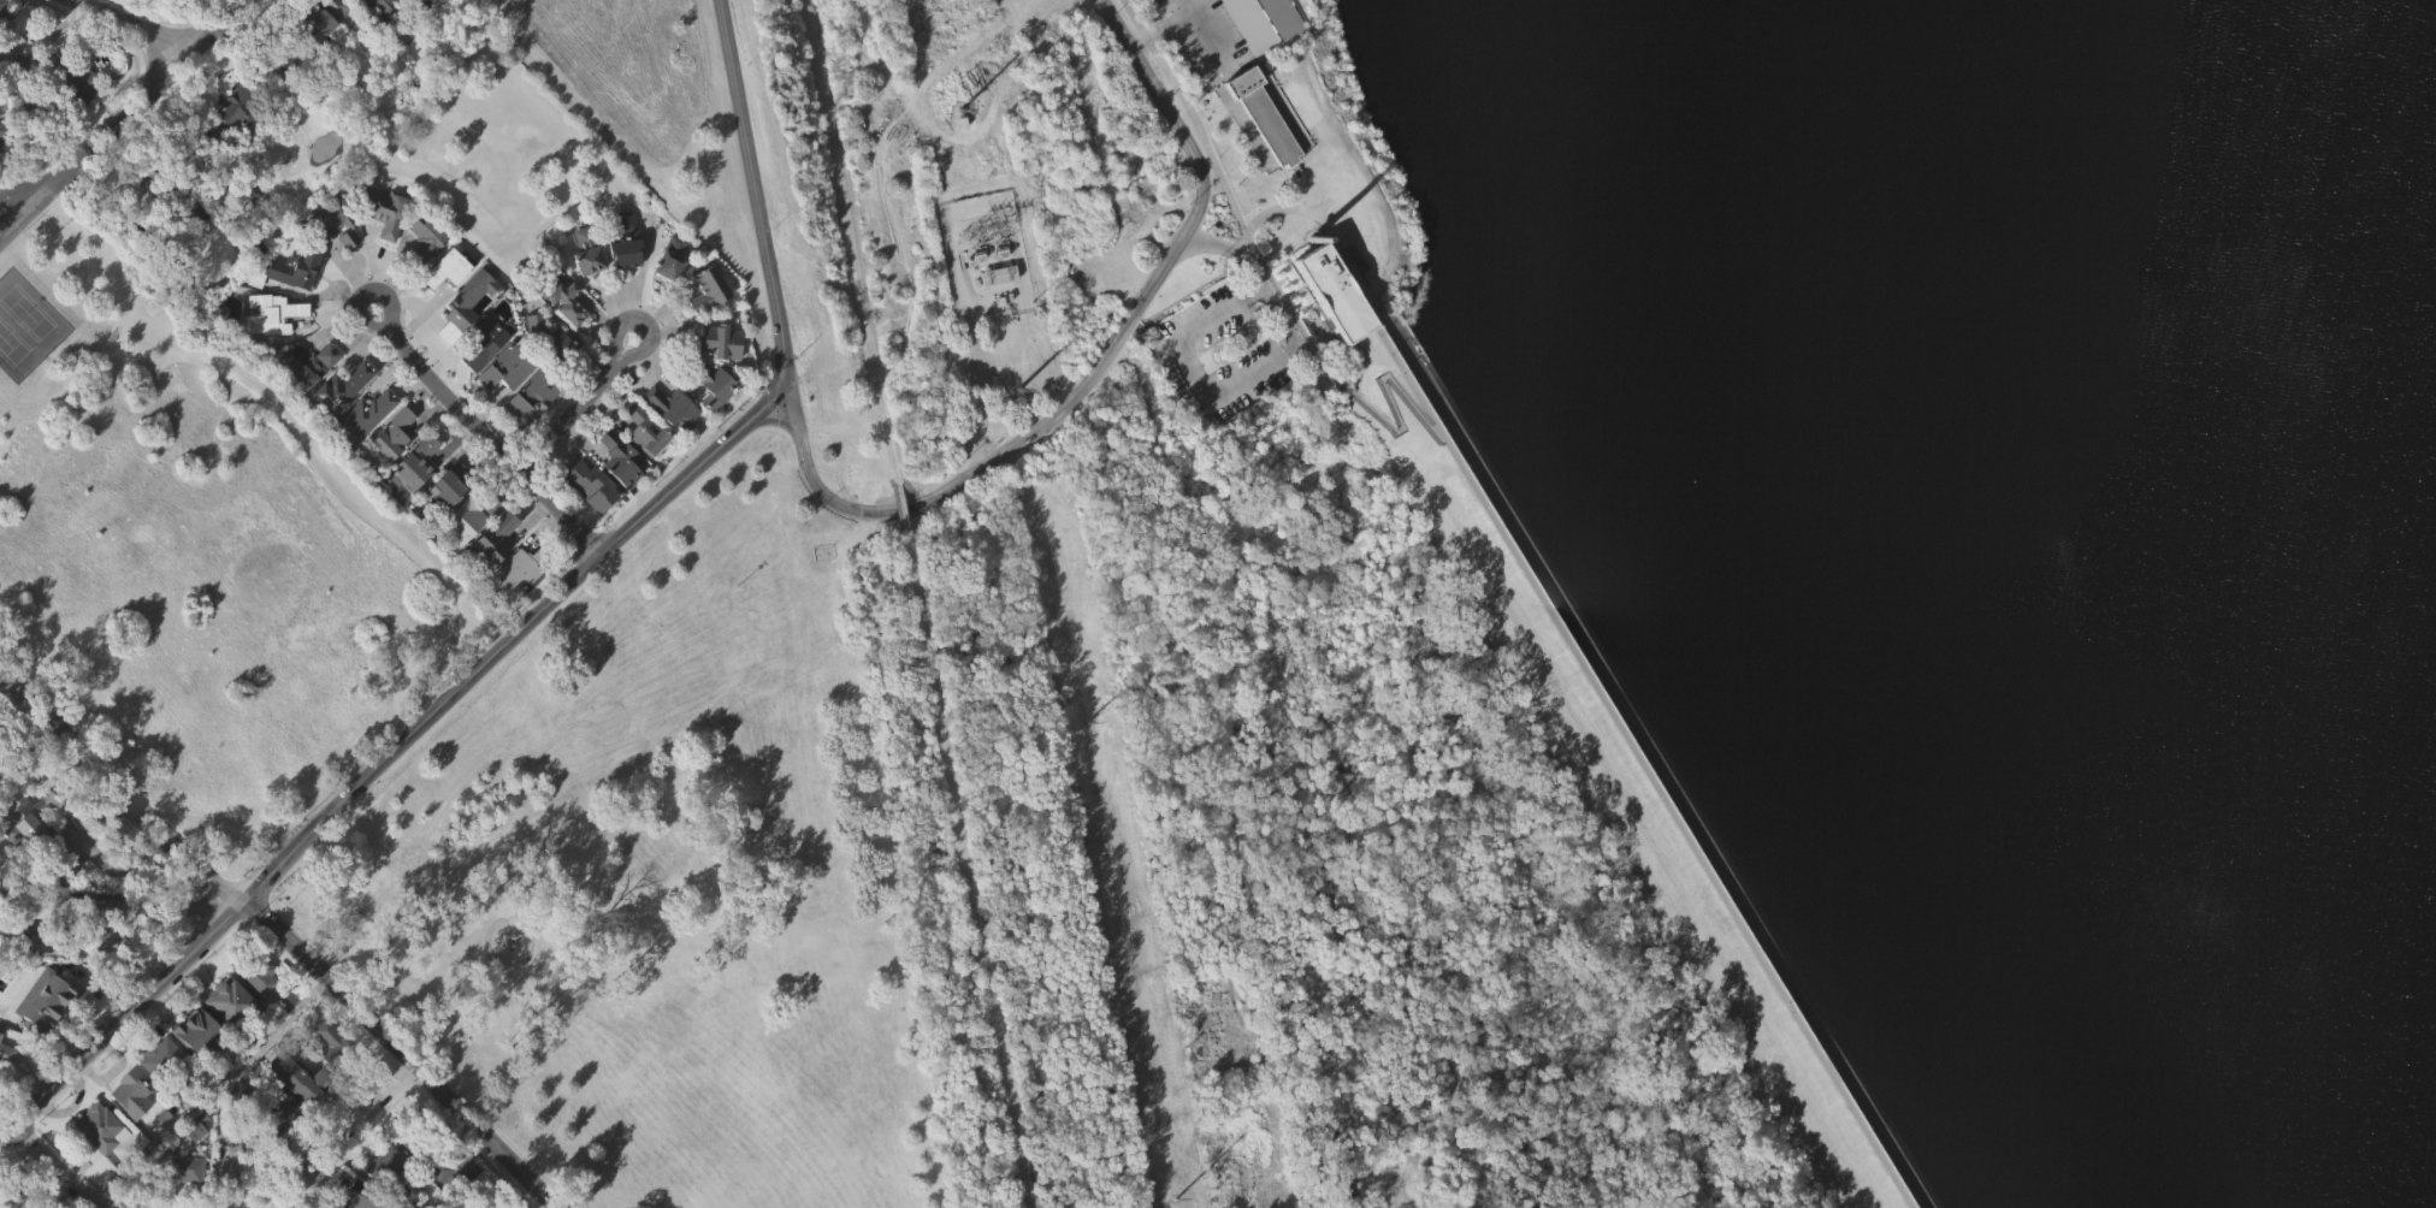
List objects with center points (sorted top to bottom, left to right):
building: (158, 1)
building: (190, 8)
building: (5, 10)
building: (391, 12)
building: (320, 20)
building: (1265, 24)
road: (1167, 26)
road: (124, 28)
parking lot: (1207, 36)
road: (46, 40)
building: (5, 43)
building: (325, 51)
building: (290, 63)
building: (70, 81)
building: (284, 96)
building: (26, 99)
building: (39, 107)
building: (230, 113)
building: (82, 118)
building: (1260, 118)
road: (123, 119)
power tower: (957, 122)
building: (1, 130)
building: (237, 142)
building: (1267, 152)
road: (26, 185)
building: (178, 201)
road: (757, 203)
building: (384, 211)
road: (889, 211)
road: (1271, 213)
power tower: (983, 221)
building: (333, 224)
building: (424, 236)
building: (626, 242)
road: (850, 242)
building: (194, 244)
building: (385, 244)
building: (585, 250)
building: (336, 259)
building: (670, 260)
building: (444, 267)
power substation: (991, 270)
building: (294, 271)
building: (426, 271)
building: (627, 276)
road: (639, 277)
building: (589, 288)
building: (706, 289)
building: (673, 292)
building: (558, 294)
building: (1329, 294)
building: (296, 303)
building: (463, 304)
road: (1276, 304)
road: (1225, 309)
park: (26, 312)
building: (270, 315)
building: (708, 324)
building: (1336, 332)
building: (469, 336)
building: (567, 336)
building: (719, 341)
building: (481, 342)
parking lot: (1178, 343)
park: (11, 344)
building: (556, 344)
building: (276, 353)
building: (537, 359)
building: (507, 366)
building: (307, 367)
road: (1100, 369)
building: (487, 375)
building: (560, 380)
road: (972, 380)
building: (714, 384)
power tower: (1022, 387)
building: (341, 389)
road: (1214, 391)
building: (531, 397)
building: (309, 401)
building: (508, 402)
building: (670, 407)
road: (583, 408)
building: (365, 413)
building: (715, 419)
building: (641, 428)
building: (532, 430)
road: (490, 432)
building: (390, 434)
building: (673, 442)
building: (366, 449)
building: (619, 458)
building: (646, 464)
building: (414, 466)
building: (394, 468)
building: (447, 487)
building: (589, 487)
building: (621, 492)
building: (415, 498)
road: (899, 509)
building: (469, 514)
building: (591, 520)
road: (1496, 540)
building: (493, 541)
park: (200, 547)
building: (473, 551)
building: (495, 572)
building: (519, 572)
building: (515, 608)
park: (1478, 621)
road: (508, 646)
power tower: (1072, 716)
road: (20, 733)
road: (119, 790)
building: (41, 834)
building: (26, 857)
road: (965, 870)
building: (67, 892)
building: (105, 923)
building: (43, 943)
building: (108, 971)
building: (258, 976)
building: (40, 997)
building: (230, 1002)
building: (285, 1003)
building: (261, 1012)
road: (122, 1022)
building: (0, 1034)
building: (47, 1035)
building: (231, 1035)
building: (327, 1035)
building: (195, 1036)
road: (403, 1053)
building: (6, 1054)
building: (160, 1059)
building: (197, 1065)
building: (330, 1071)
building: (309, 1080)
building: (2, 1084)
building: (131, 1091)
building: (161, 1091)
road: (209, 1092)
building: (296, 1111)
building: (279, 1114)
building: (100, 1125)
building: (136, 1126)
building: (190, 1132)
road: (353, 1132)
building: (279, 1145)
building: (421, 1155)
building: (101, 1162)
road: (51, 1163)
building: (182, 1168)
building: (231, 1168)
building: (389, 1177)
building: (184, 1198)
power tower: (1165, 1200)
building: (349, 1203)

